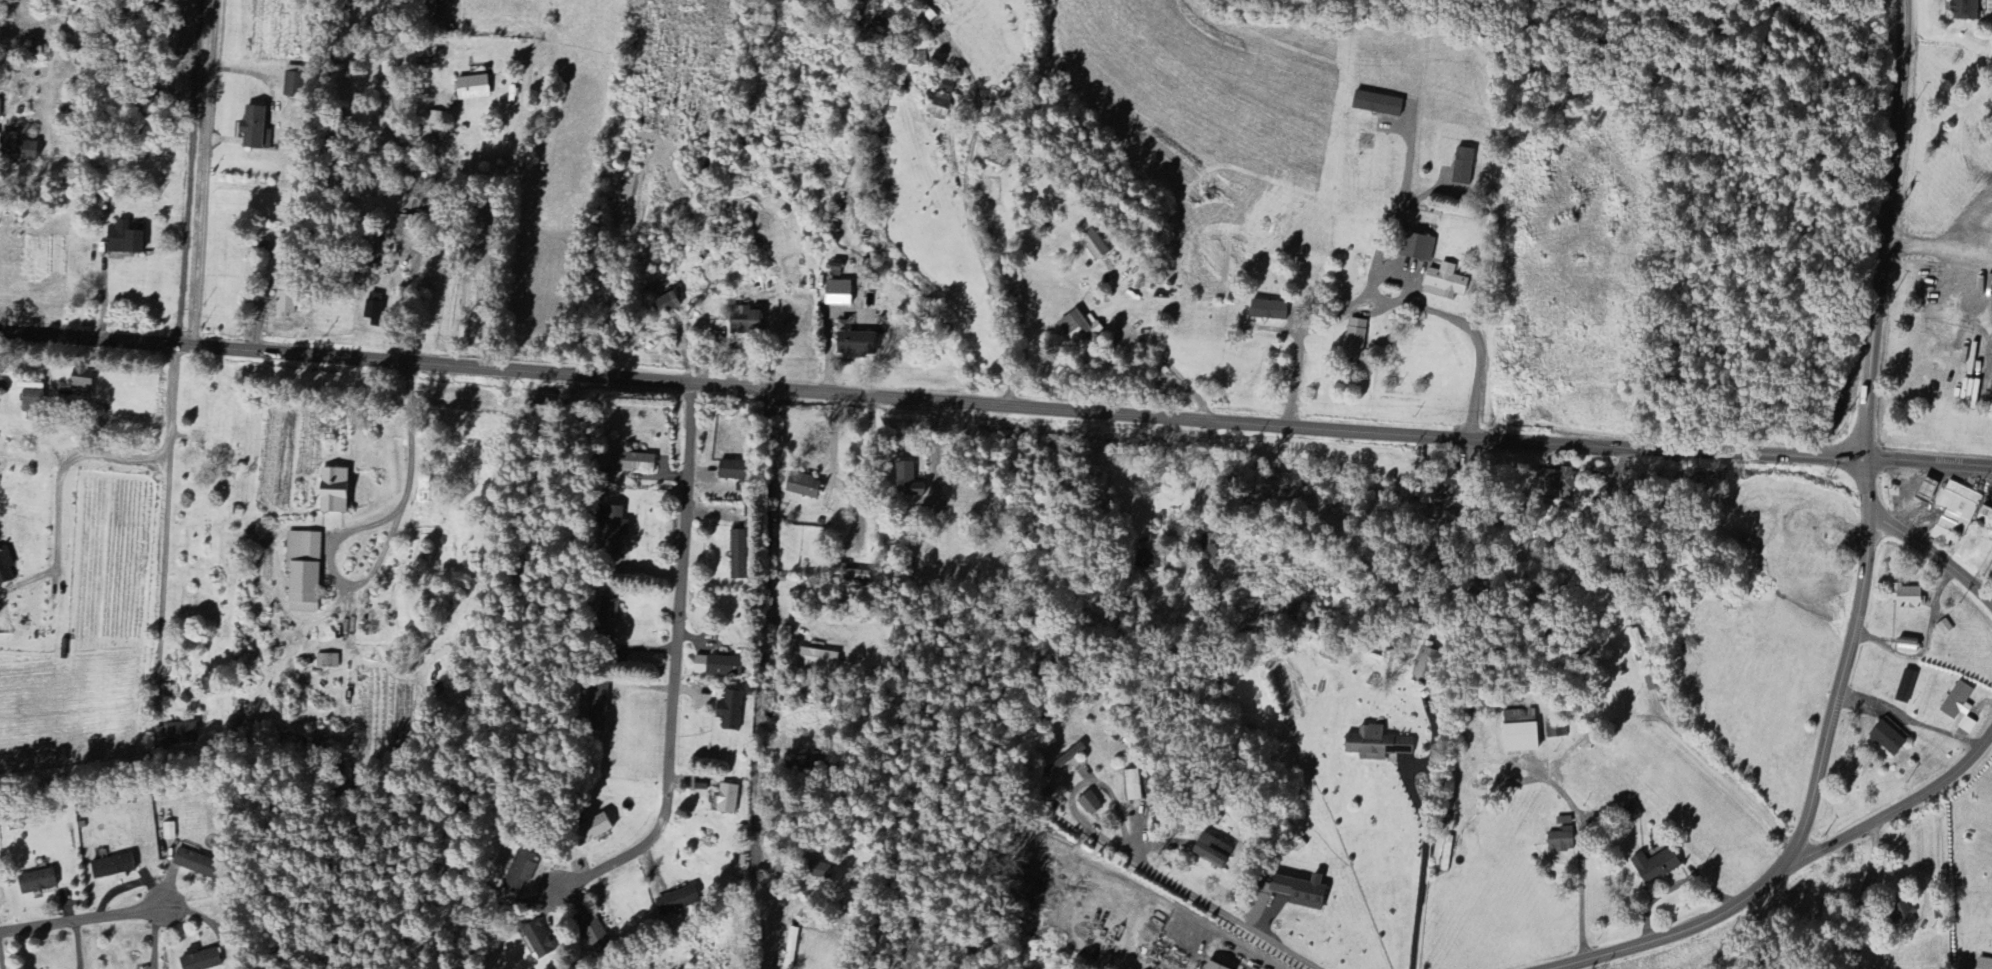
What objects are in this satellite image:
building: (426, 6)
building: (924, 10)
building: (1964, 10)
building: (915, 59)
building: (293, 85)
building: (946, 87)
building: (472, 88)
building: (1377, 104)
building: (940, 107)
building: (0, 119)
building: (252, 128)
building: (17, 150)
building: (1462, 166)
road: (203, 174)
building: (122, 239)
road: (416, 244)
building: (1093, 244)
building: (1416, 247)
road: (1938, 247)
road: (981, 261)
building: (1444, 282)
road: (103, 292)
building: (837, 293)
road: (1387, 302)
building: (284, 303)
building: (664, 304)
building: (1266, 310)
building: (744, 320)
building: (1078, 326)
road: (1320, 326)
road: (1124, 333)
road: (828, 338)
building: (1355, 340)
building: (855, 344)
building: (82, 381)
road: (66, 398)
building: (31, 399)
road: (995, 404)
road: (934, 451)
road: (138, 458)
building: (631, 463)
building: (732, 471)
building: (907, 481)
building: (1556, 484)
building: (802, 486)
building: (332, 491)
road: (55, 508)
building: (1955, 513)
road: (163, 517)
building: (1985, 519)
road: (363, 527)
building: (611, 530)
building: (1209, 550)
building: (739, 555)
road: (1932, 558)
building: (1147, 560)
road: (1865, 566)
building: (5, 567)
building: (302, 572)
building: (460, 584)
building: (1906, 597)
building: (606, 617)
building: (1907, 646)
building: (817, 660)
building: (326, 662)
building: (1422, 664)
building: (717, 666)
road: (675, 678)
road: (756, 678)
building: (1905, 687)
building: (1959, 707)
building: (597, 708)
building: (729, 711)
road: (1909, 720)
building: (1555, 731)
road: (1675, 731)
building: (175, 734)
building: (1519, 735)
building: (1888, 738)
building: (1375, 745)
building: (1066, 762)
building: (700, 784)
road: (1079, 786)
building: (1133, 786)
road: (1410, 790)
building: (727, 799)
building: (1089, 804)
road: (1899, 810)
building: (1631, 814)
building: (1563, 822)
building: (591, 831)
building: (169, 832)
building: (1559, 841)
road: (1580, 848)
building: (1209, 851)
building: (192, 863)
building: (1655, 866)
building: (111, 867)
building: (520, 871)
building: (819, 871)
building: (36, 882)
road: (1420, 889)
building: (1300, 892)
road: (1863, 894)
building: (676, 901)
road: (1227, 915)
building: (1902, 915)
road: (168, 920)
building: (588, 928)
building: (540, 941)
road: (1245, 947)
building: (791, 948)
building: (199, 960)
building: (1984, 964)
building: (1211, 966)

